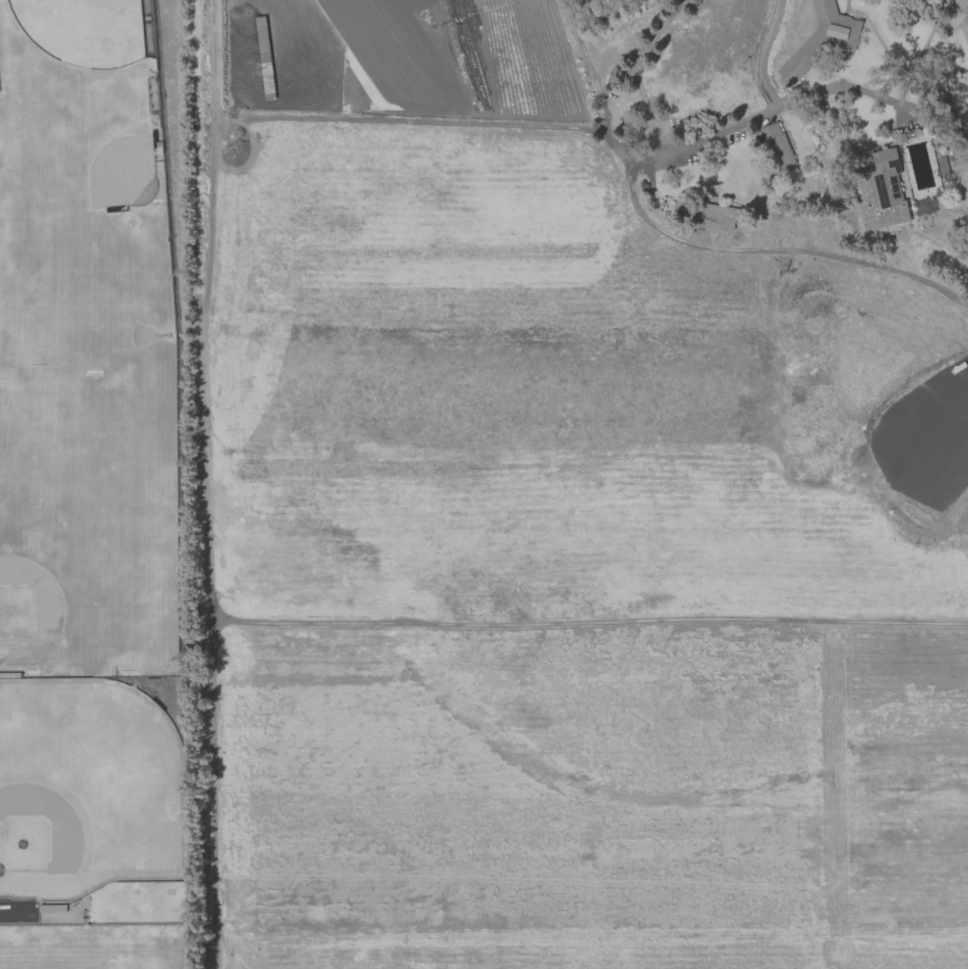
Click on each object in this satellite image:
building: (959, 3)
park: (84, 30)
building: (820, 40)
road: (842, 84)
building: (960, 106)
road: (752, 118)
road: (353, 119)
building: (776, 147)
park: (109, 152)
building: (878, 189)
building: (716, 216)
road: (690, 242)
building: (967, 282)
park: (46, 602)
road: (883, 622)

